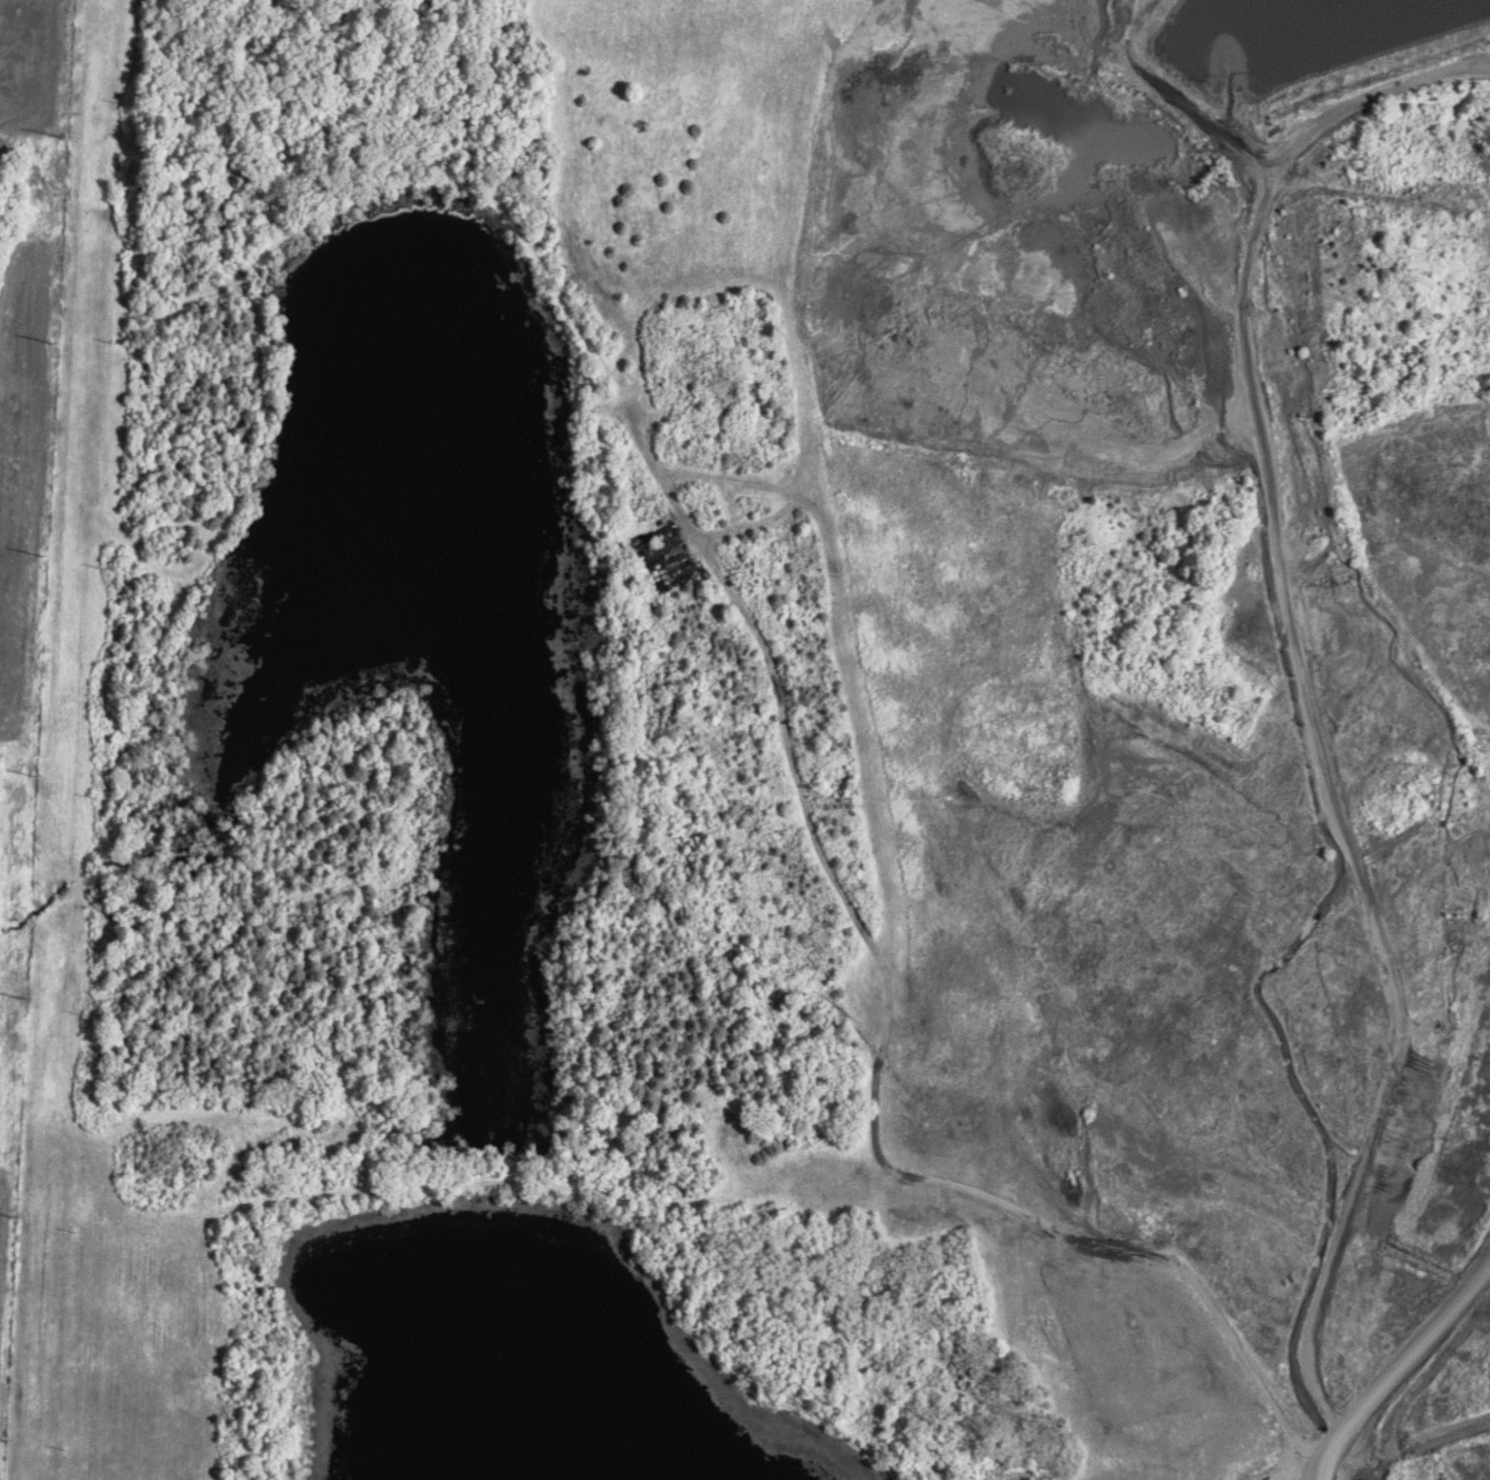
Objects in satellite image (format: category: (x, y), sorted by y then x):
power tower: (61, 131)
power tower: (53, 338)
power tower: (44, 548)
power tower: (35, 770)
power tower: (24, 993)
power tower: (13, 1212)
road: (1072, 1246)
power tower: (3, 1435)

